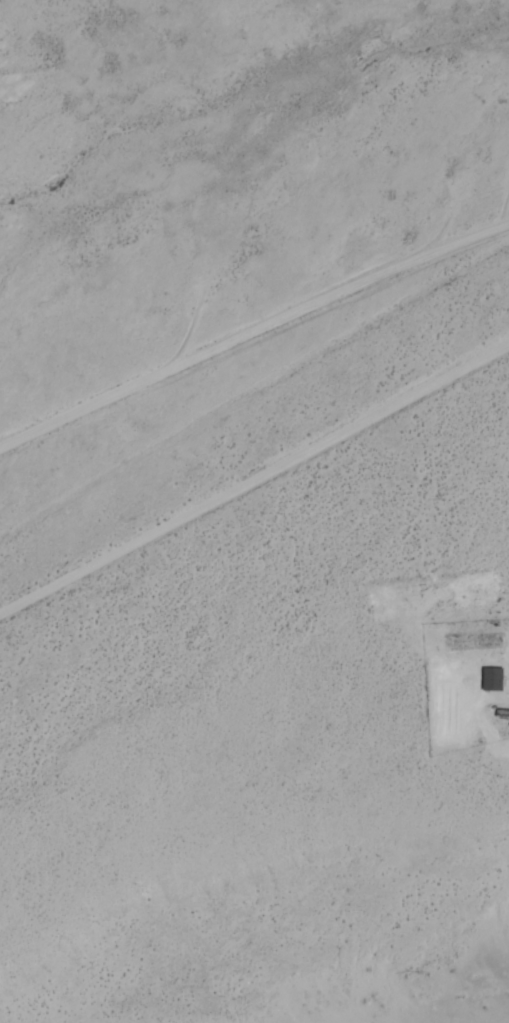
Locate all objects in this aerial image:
road: (251, 324)

